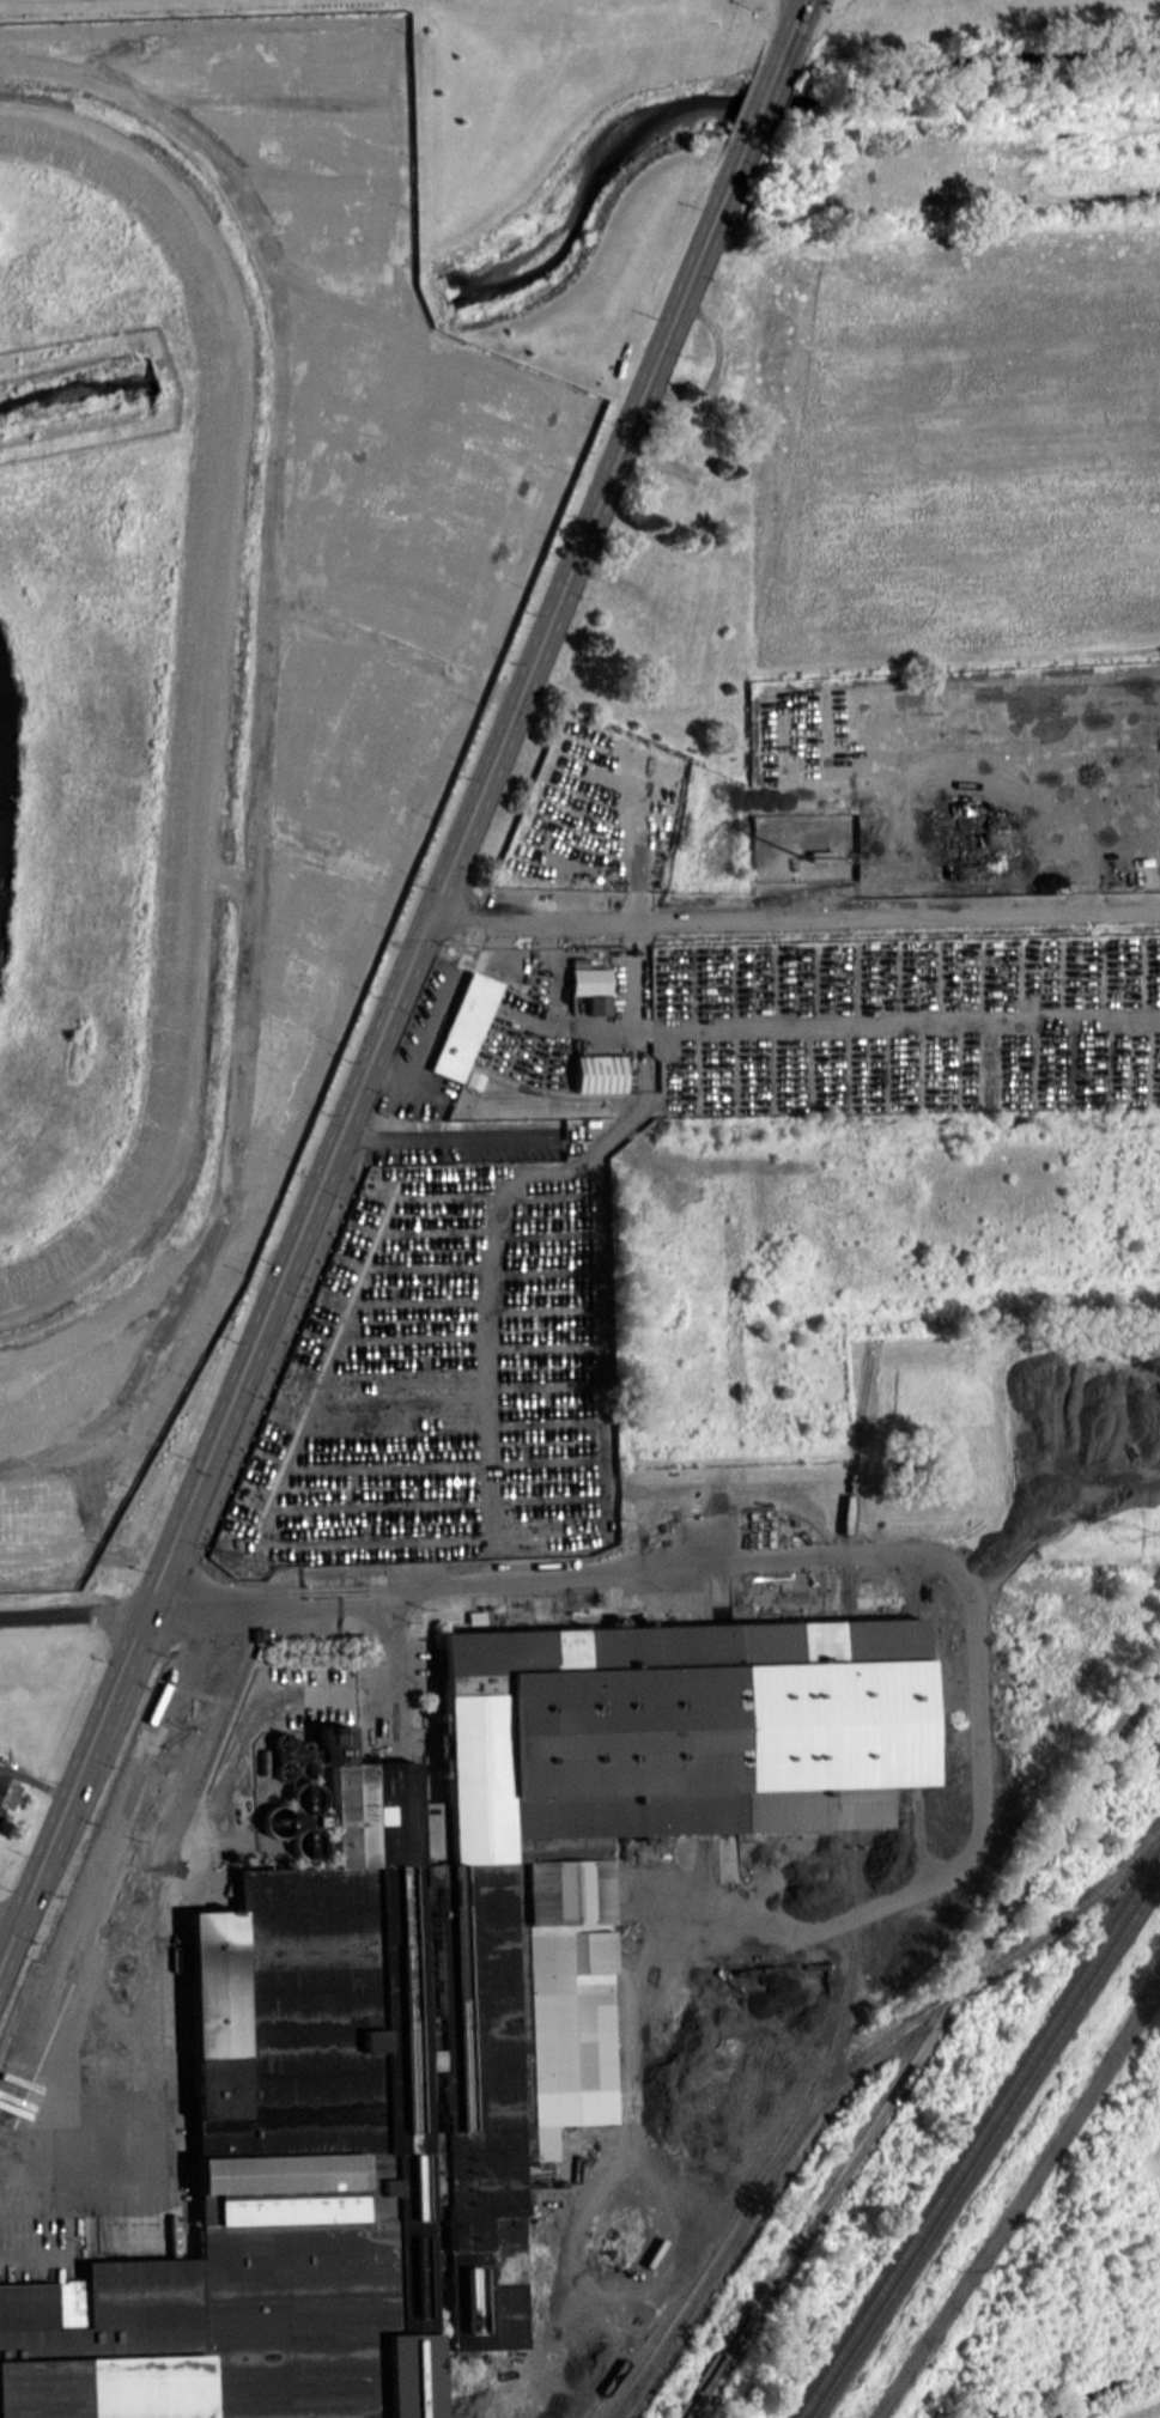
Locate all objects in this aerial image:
road: (788, 35)
road: (761, 104)
building: (700, 429)
crop: (958, 445)
raceway: (205, 682)
building: (393, 753)
road: (231, 881)
road: (792, 916)
building: (590, 988)
road: (443, 998)
building: (463, 1026)
road: (372, 1052)
road: (402, 1070)
building: (599, 1073)
road: (447, 1136)
road: (205, 1256)
power tower: (1126, 1525)
power tower: (255, 1563)
road: (236, 1609)
road: (73, 1614)
building: (7, 1792)
road: (8, 1920)
railway: (844, 2000)
building: (447, 2007)
railway: (916, 2040)
railway: (843, 2079)
railway: (977, 2134)
railway: (983, 2144)
crop: (1152, 2155)
railway: (815, 2218)
railway: (709, 2252)
railway: (637, 2340)
crop: (1148, 2413)

